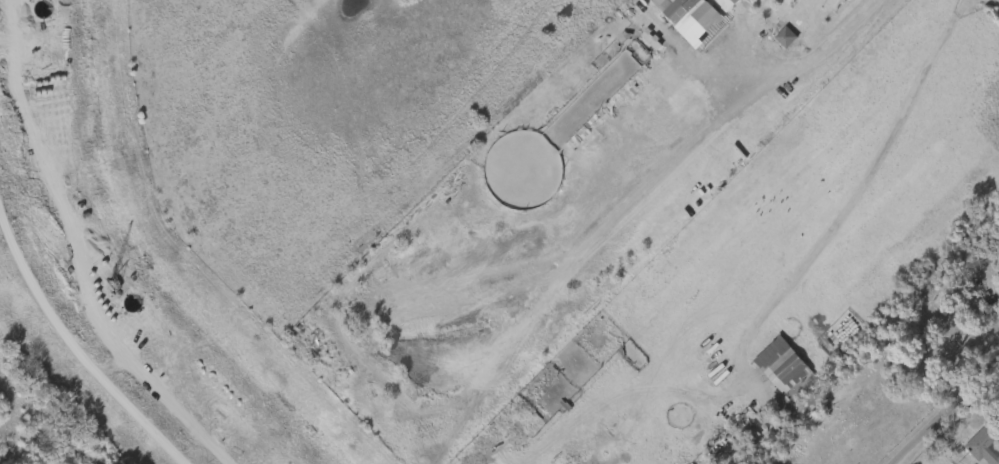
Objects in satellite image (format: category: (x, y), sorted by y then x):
building: (727, 4)
building: (716, 5)
building: (683, 9)
building: (776, 40)
road: (825, 47)
building: (682, 103)
road: (876, 164)
road: (70, 340)
building: (785, 369)
road: (949, 414)
building: (742, 436)
building: (986, 443)

